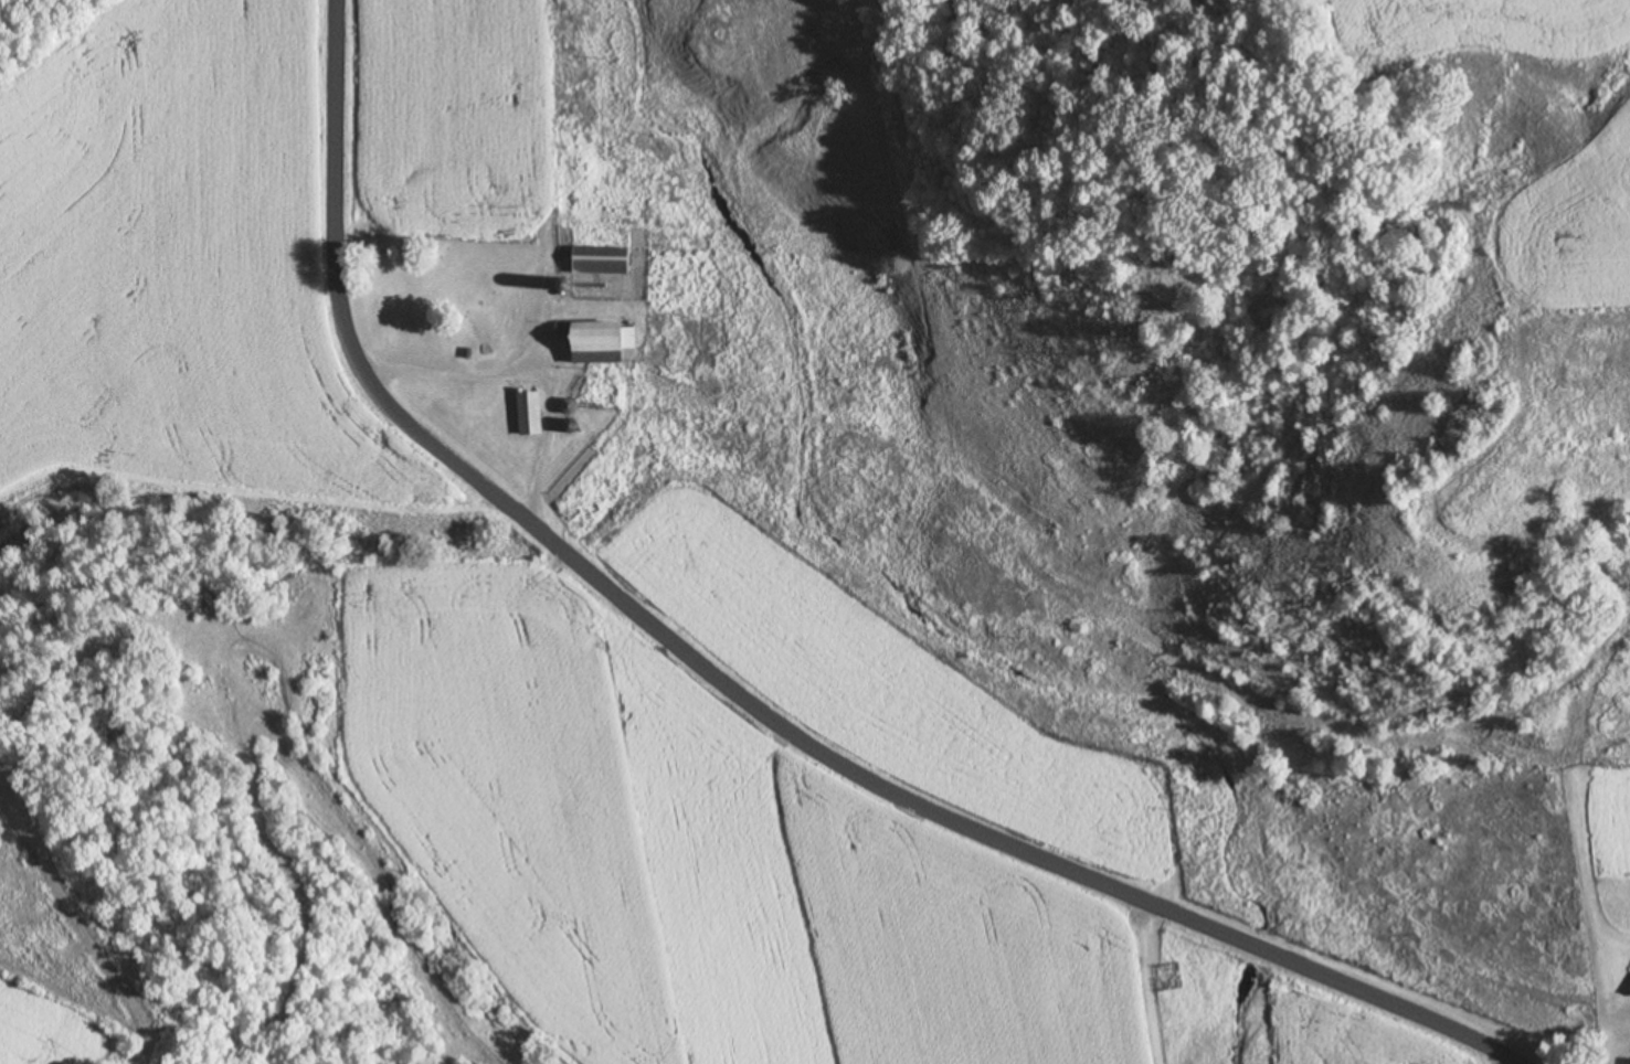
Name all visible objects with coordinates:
road: (332, 137)
building: (603, 259)
building: (606, 341)
road: (529, 370)
building: (530, 413)
road: (846, 769)

